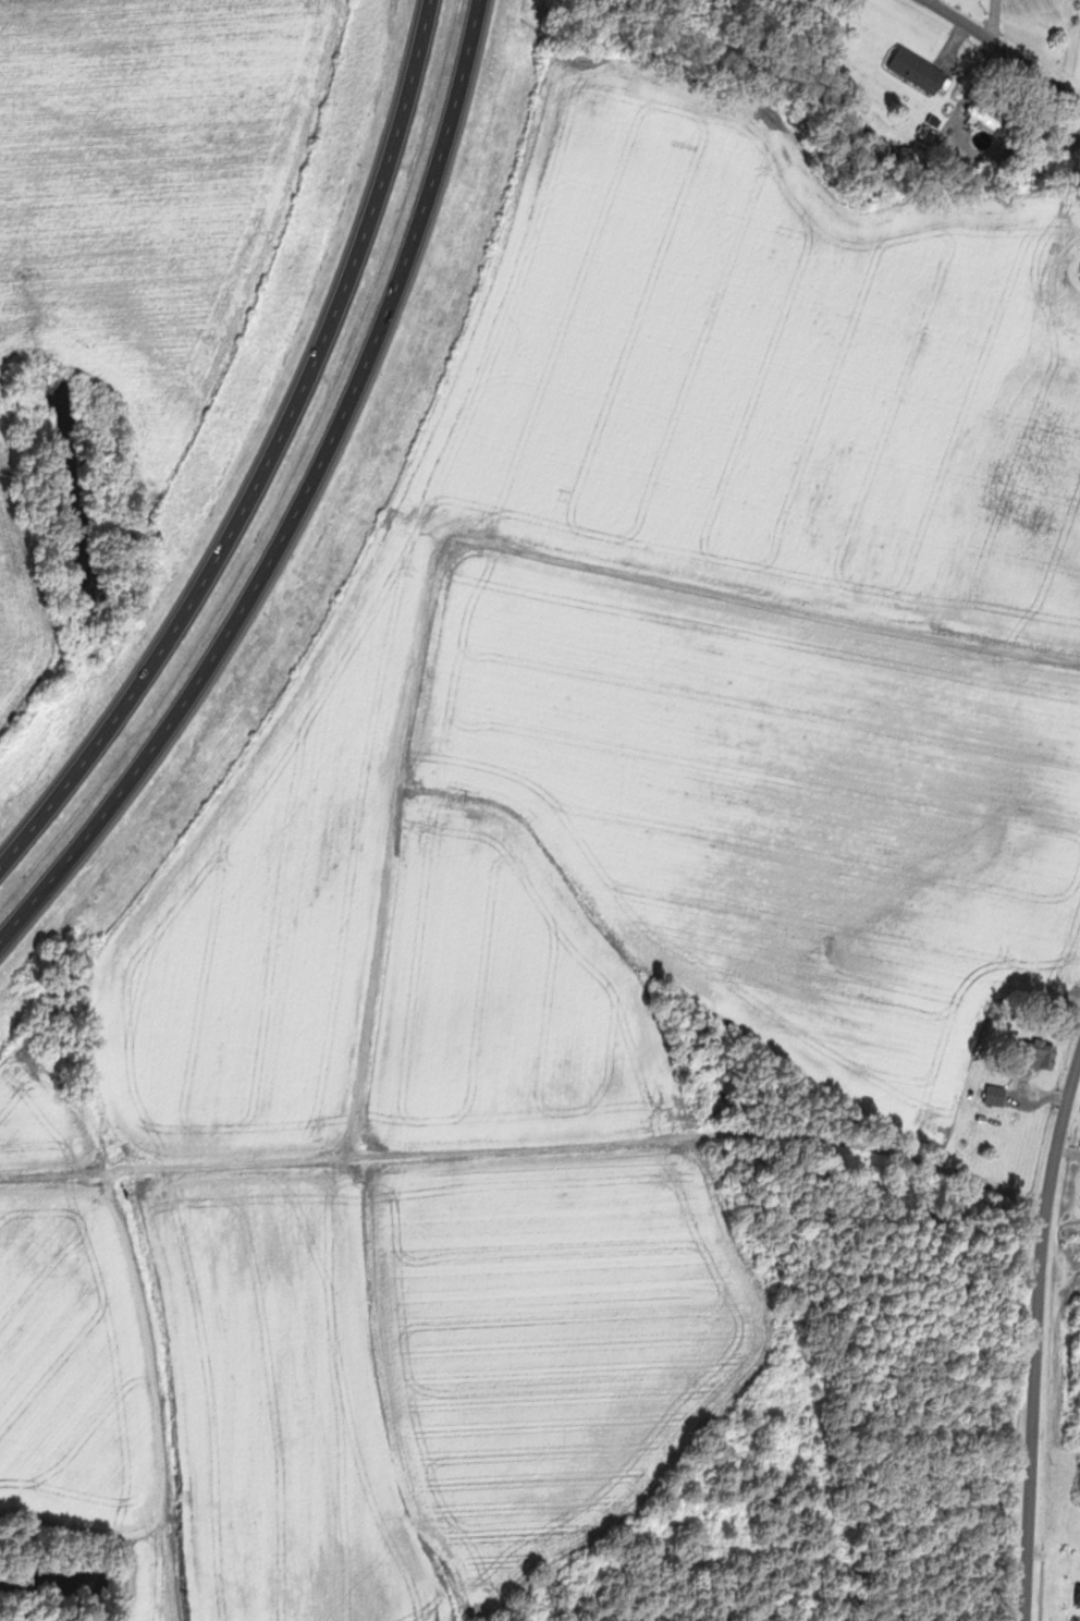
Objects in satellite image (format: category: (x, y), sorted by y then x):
road: (999, 17)
road: (1010, 45)
building: (920, 71)
building: (993, 115)
road: (274, 461)
road: (307, 514)
building: (1043, 1053)
building: (998, 1096)
road: (527, 1165)
road: (1038, 1343)

